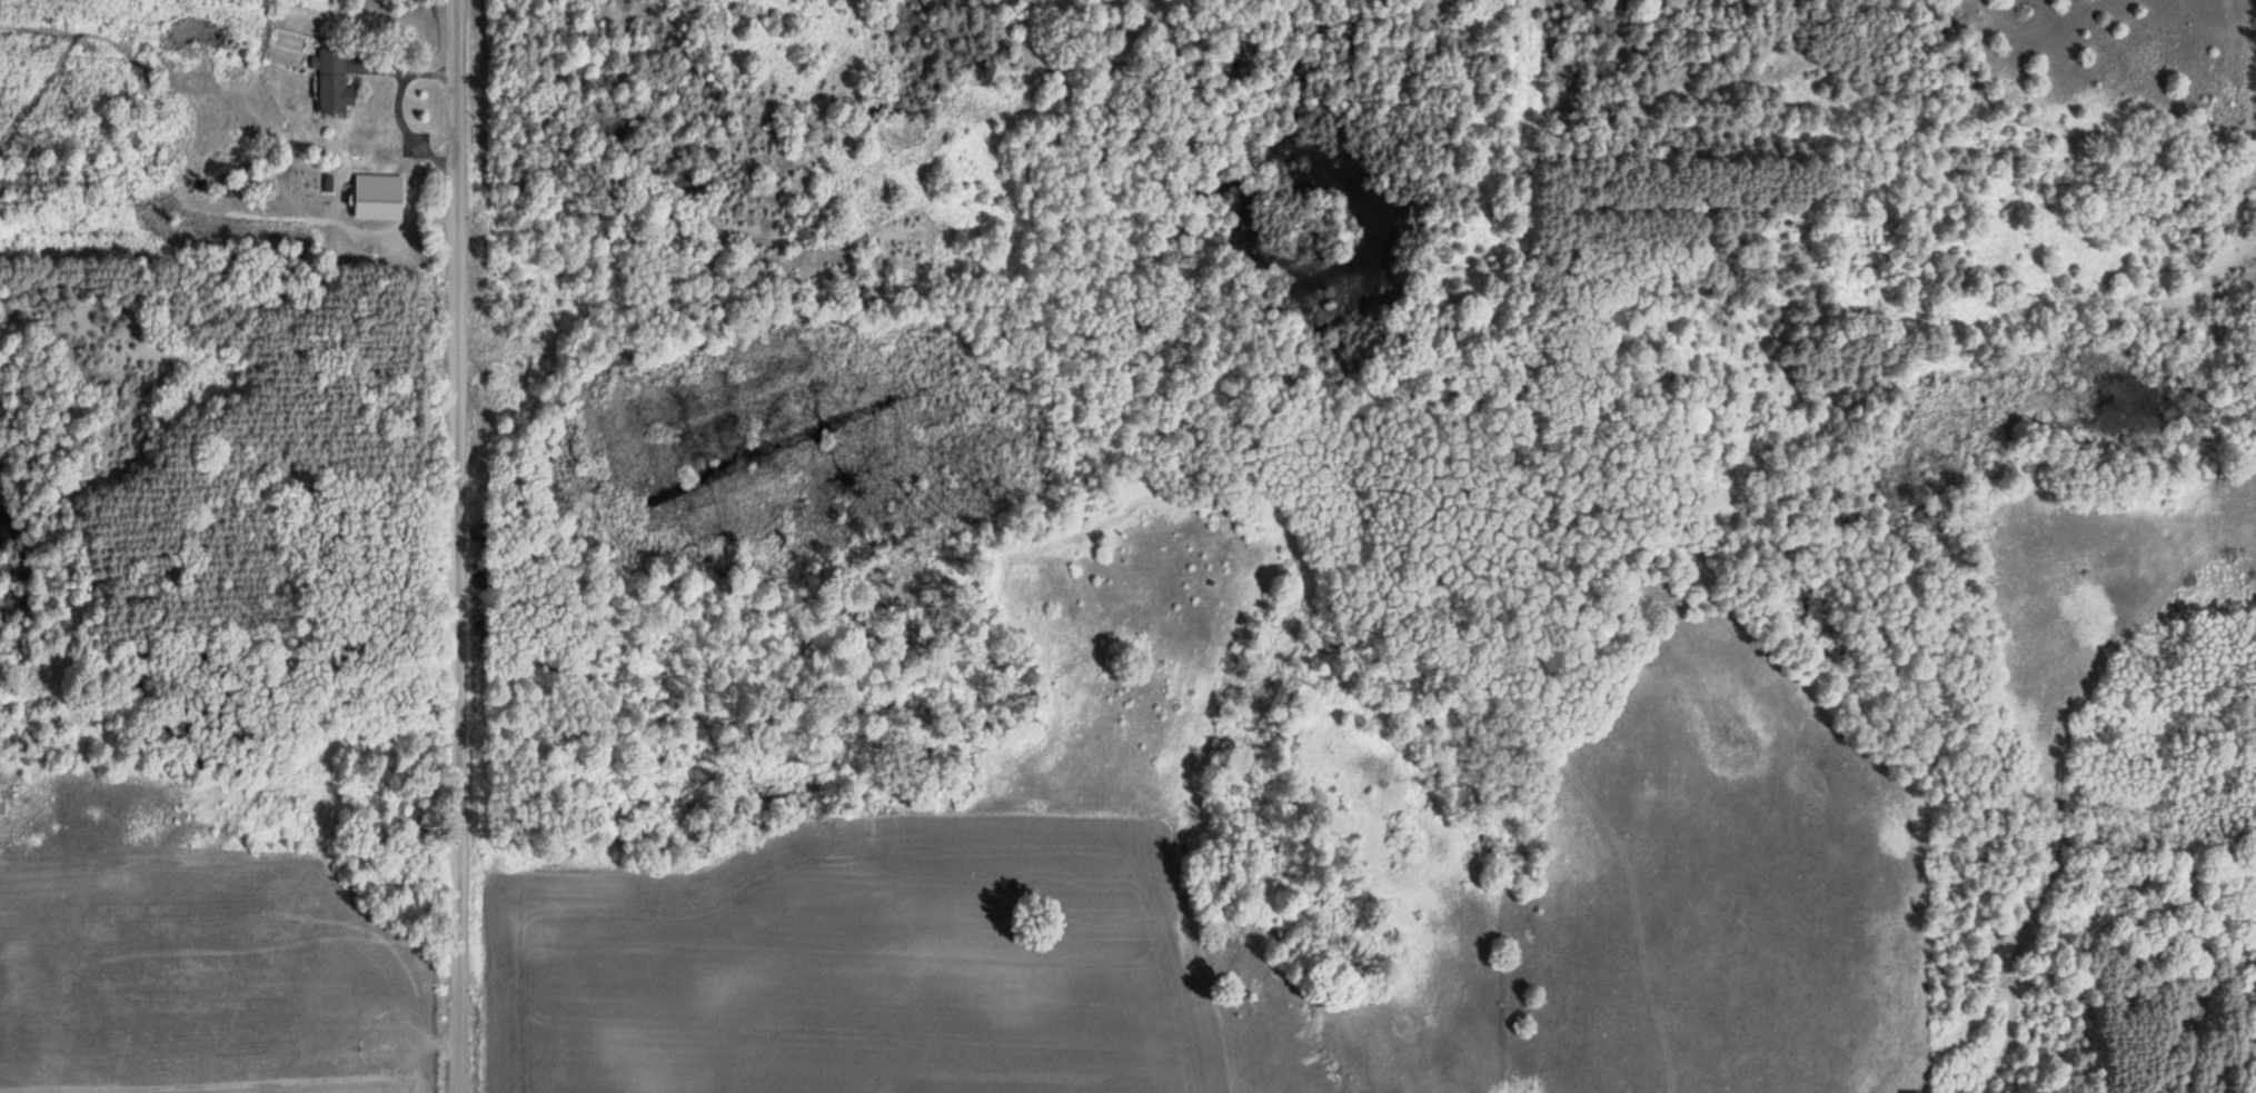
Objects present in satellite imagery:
building: (329, 83)
road: (437, 546)

